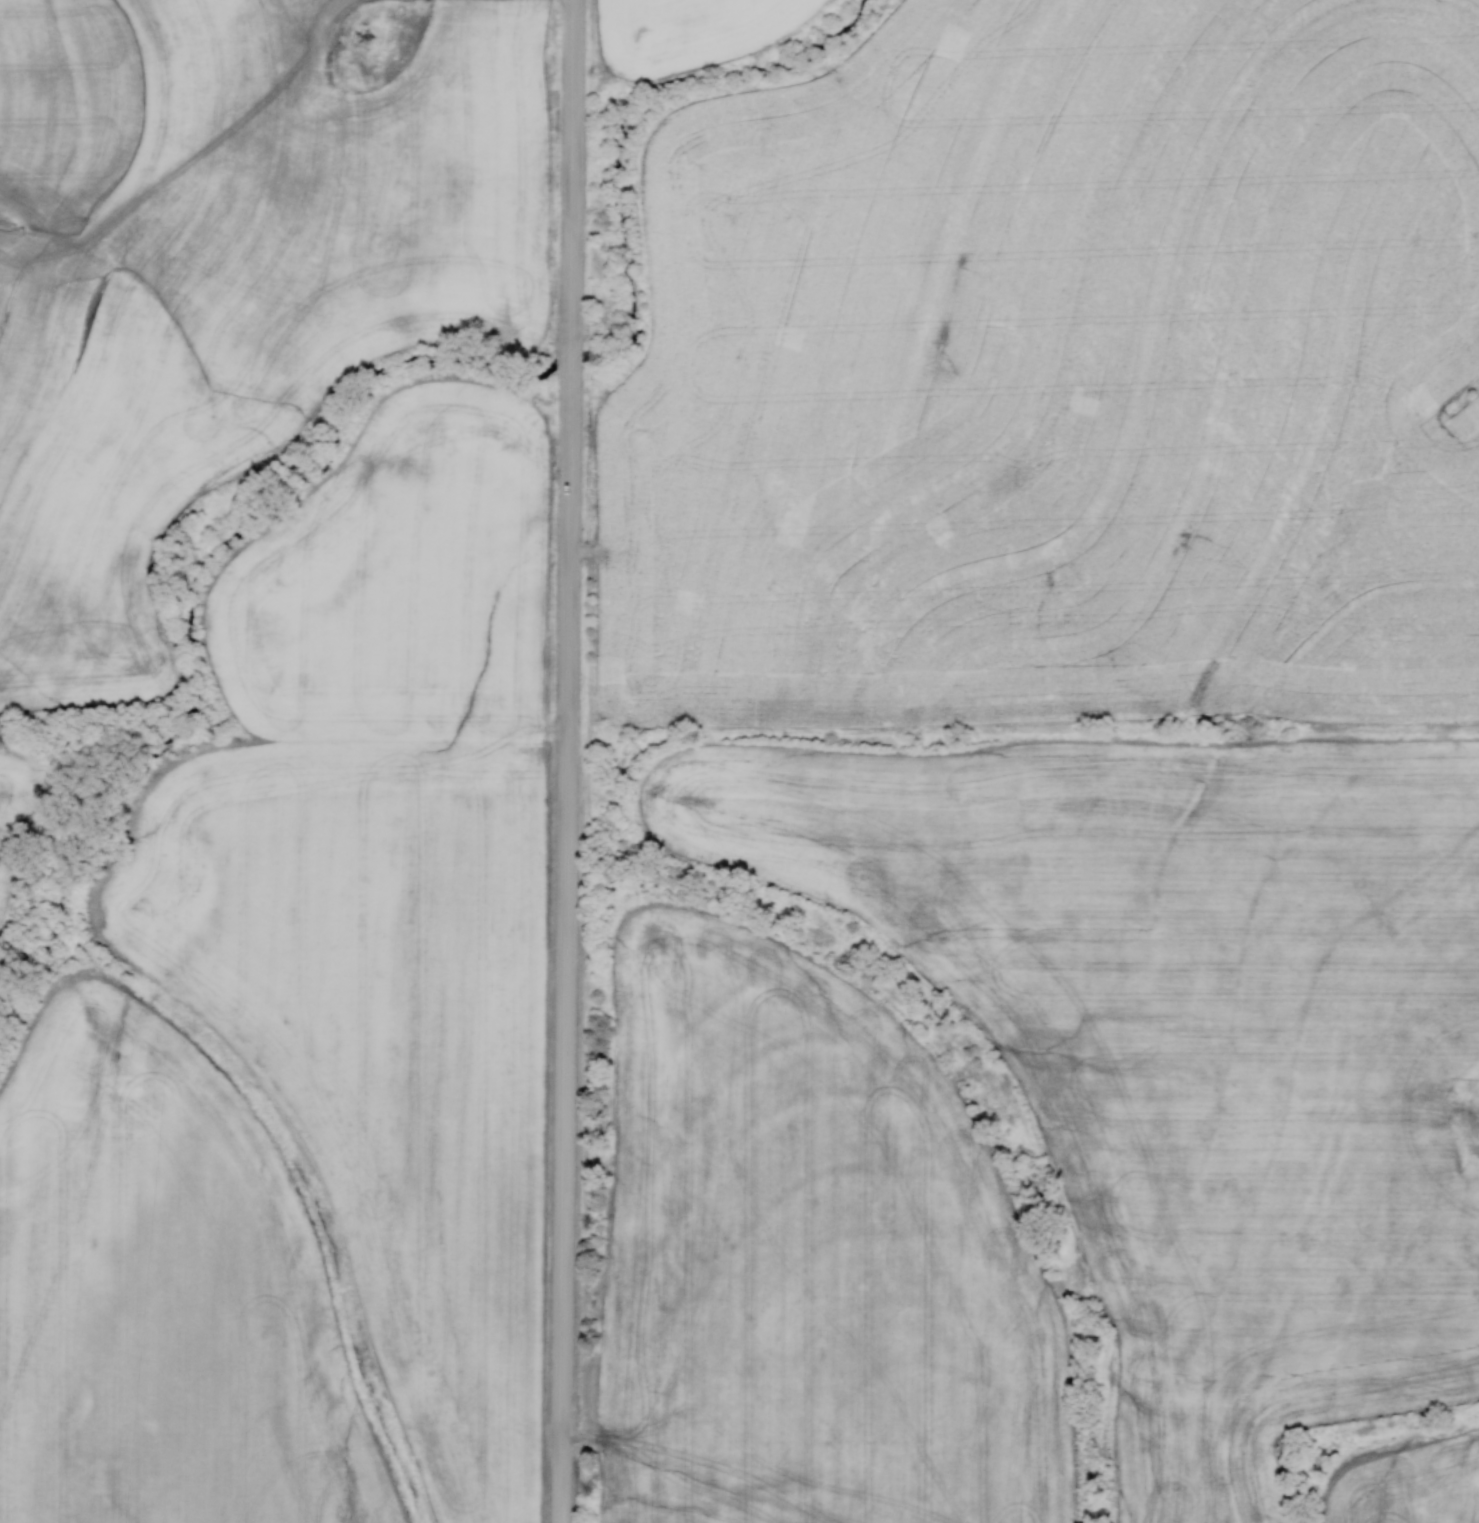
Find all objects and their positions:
road: (566, 761)

